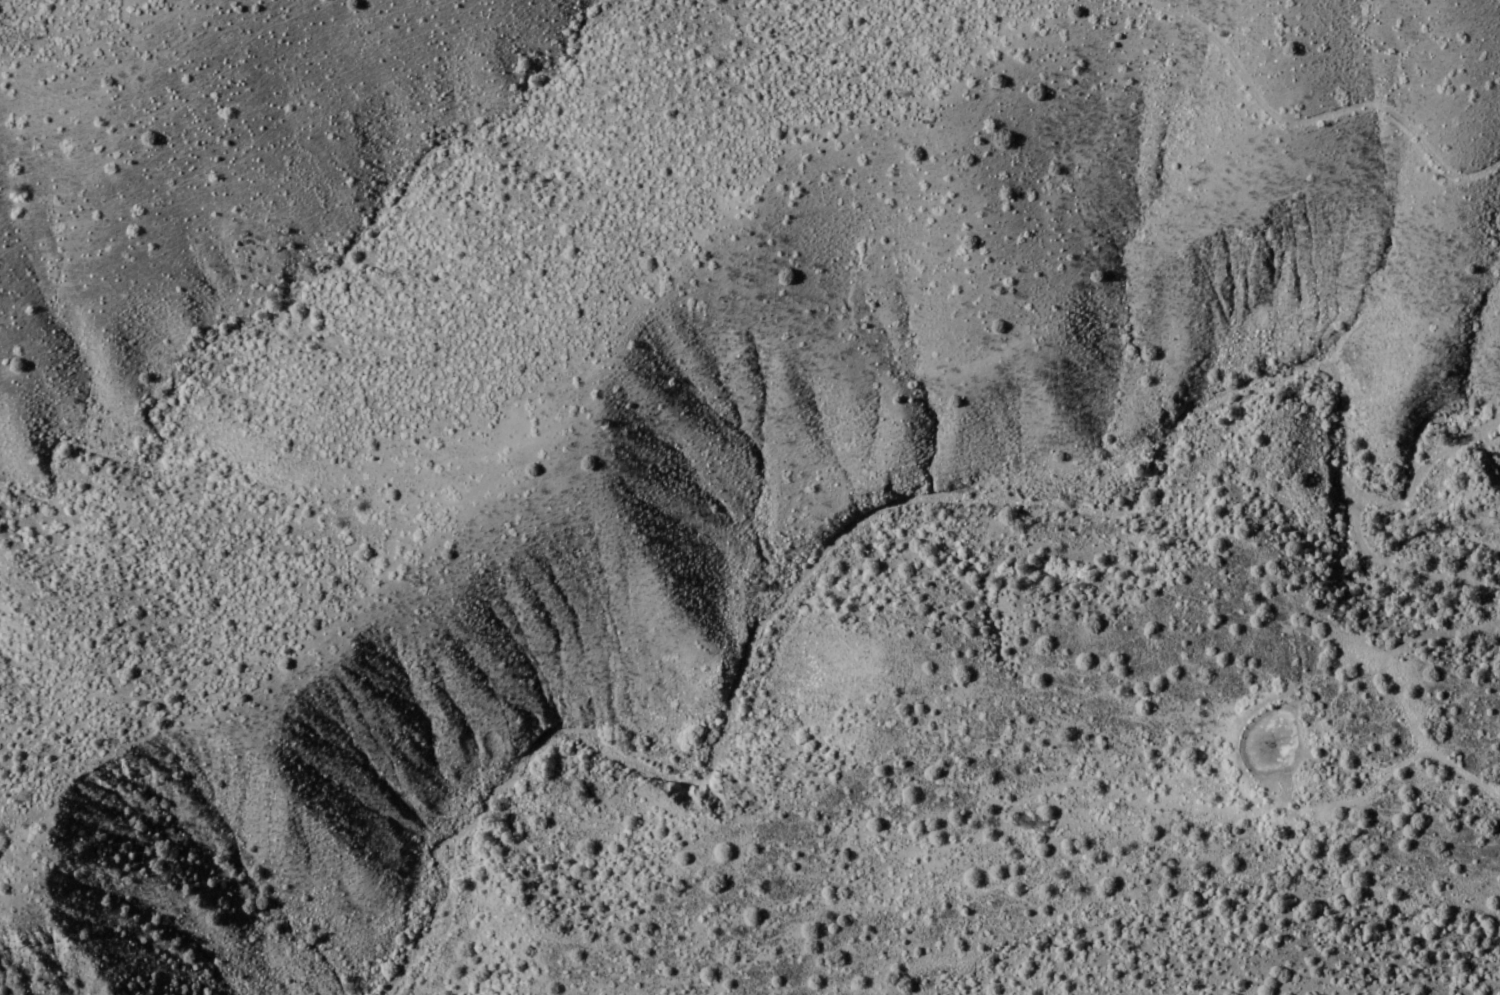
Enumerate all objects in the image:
road: (1497, 494)
road: (1436, 651)

